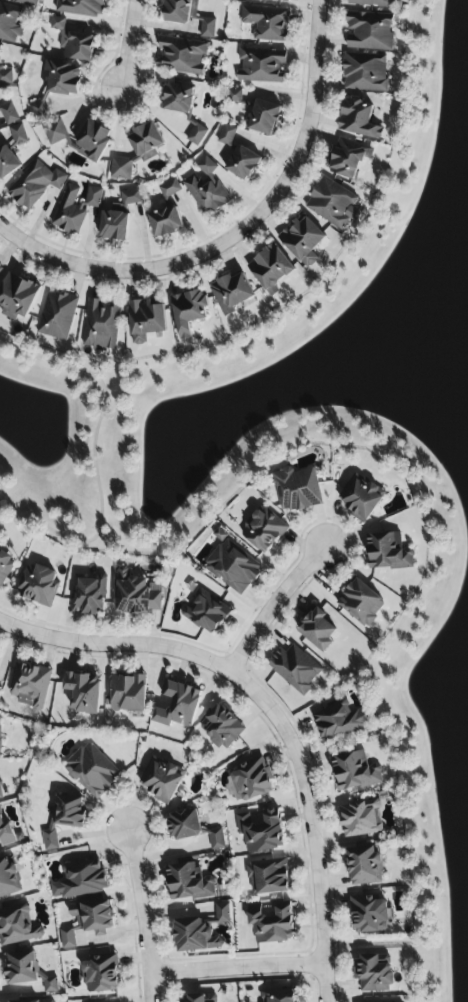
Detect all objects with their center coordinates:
building: (276, 0)
building: (27, 2)
building: (373, 3)
building: (81, 7)
building: (181, 11)
building: (9, 23)
building: (267, 23)
building: (207, 28)
building: (370, 32)
building: (74, 42)
road: (126, 46)
building: (182, 56)
building: (261, 66)
building: (365, 73)
building: (5, 76)
building: (63, 78)
building: (235, 96)
building: (178, 98)
building: (39, 111)
building: (9, 114)
building: (264, 118)
building: (358, 119)
building: (55, 133)
building: (18, 135)
building: (196, 135)
building: (227, 136)
building: (93, 141)
building: (146, 142)
building: (347, 158)
building: (244, 162)
building: (7, 163)
building: (206, 166)
building: (120, 169)
building: (35, 185)
building: (206, 194)
road: (273, 200)
building: (332, 203)
building: (74, 209)
building: (166, 213)
building: (118, 218)
building: (303, 241)
road: (39, 253)
building: (1, 266)
building: (271, 269)
building: (231, 293)
building: (17, 297)
building: (188, 312)
building: (57, 316)
building: (146, 320)
building: (101, 326)
road: (96, 462)
building: (297, 490)
building: (360, 498)
building: (263, 530)
building: (388, 552)
building: (233, 566)
building: (4, 568)
building: (38, 586)
building: (135, 595)
building: (88, 596)
building: (361, 603)
road: (277, 608)
building: (206, 614)
building: (316, 629)
building: (295, 669)
building: (31, 684)
building: (83, 692)
building: (128, 694)
road: (264, 697)
building: (178, 705)
building: (338, 722)
building: (221, 728)
building: (0, 729)
building: (92, 771)
building: (355, 772)
building: (251, 779)
building: (161, 780)
building: (1, 791)
building: (64, 818)
building: (361, 819)
building: (184, 825)
building: (261, 831)
building: (6, 833)
building: (216, 839)
building: (364, 867)
building: (268, 877)
building: (9, 879)
building: (80, 880)
building: (188, 883)
road: (140, 912)
building: (222, 914)
building: (369, 915)
building: (87, 921)
building: (272, 923)
building: (17, 926)
building: (194, 936)
building: (21, 968)
road: (238, 970)
building: (101, 974)
building: (372, 975)
road: (326, 984)
building: (50, 985)
building: (279, 995)
building: (192, 999)
building: (43, 1001)
building: (373, 1001)

